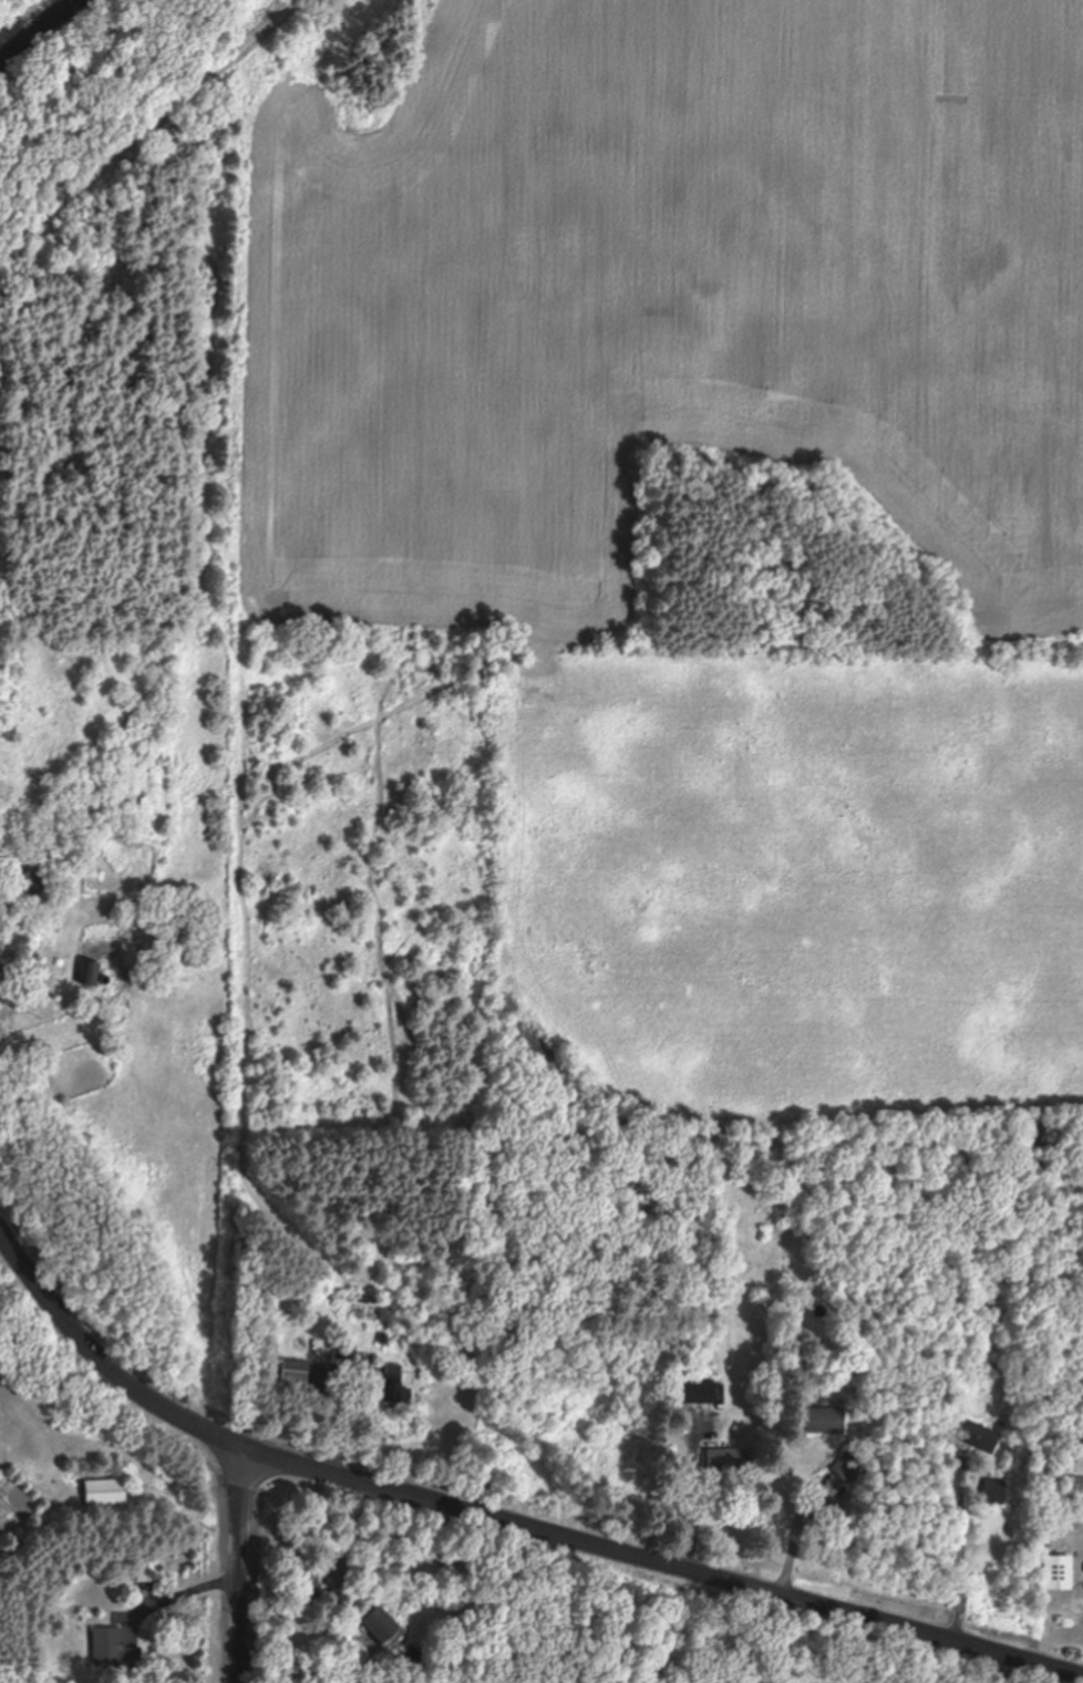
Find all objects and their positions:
road: (38, 31)
road: (149, 126)
building: (31, 884)
building: (90, 974)
building: (293, 1372)
building: (384, 1385)
building: (691, 1392)
building: (819, 1422)
building: (971, 1437)
building: (724, 1464)
building: (843, 1470)
building: (102, 1493)
building: (991, 1493)
road: (502, 1511)
road: (245, 1562)
building: (146, 1569)
building: (308, 1581)
building: (377, 1624)
building: (112, 1651)

